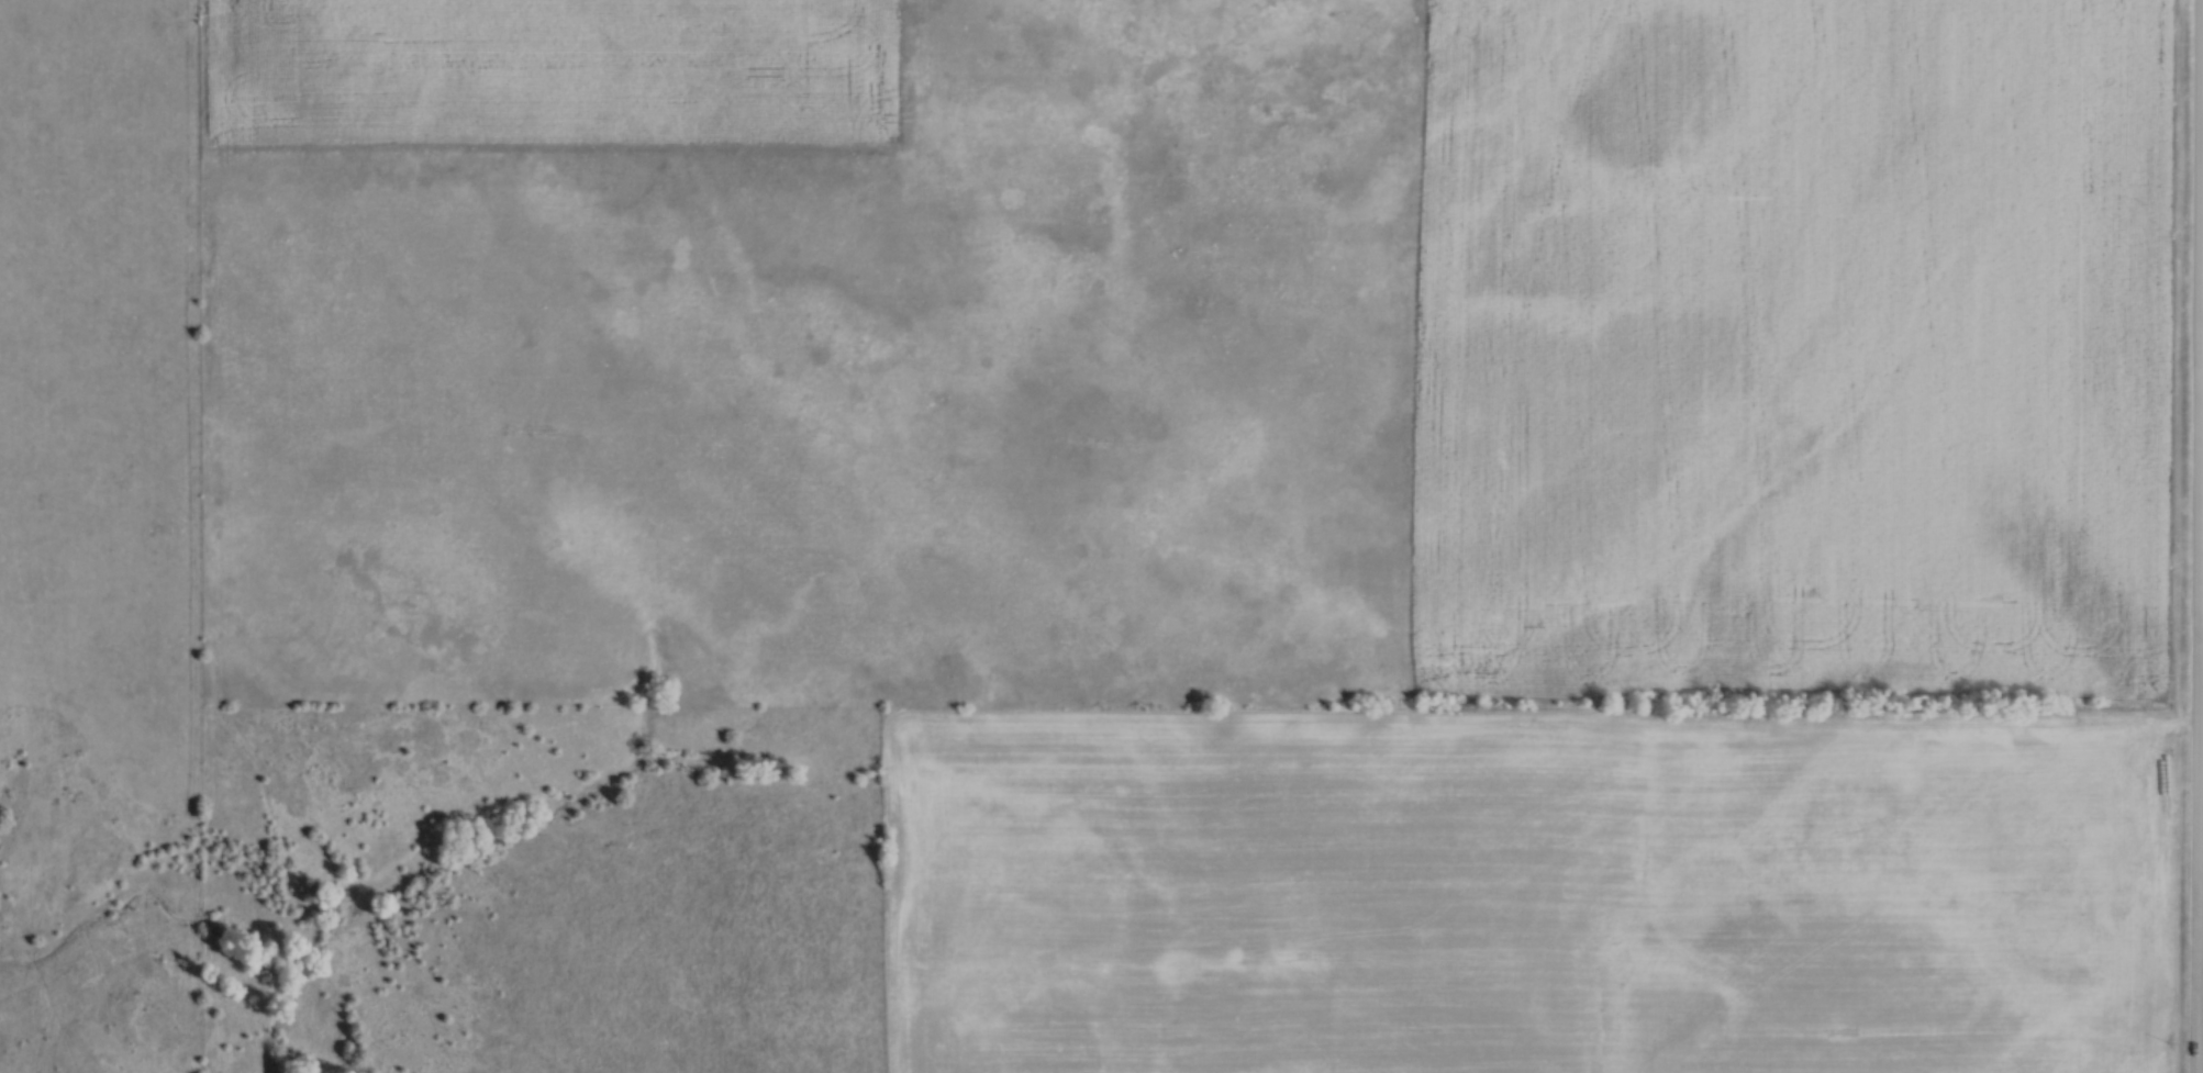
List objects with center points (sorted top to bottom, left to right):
road: (2200, 536)

